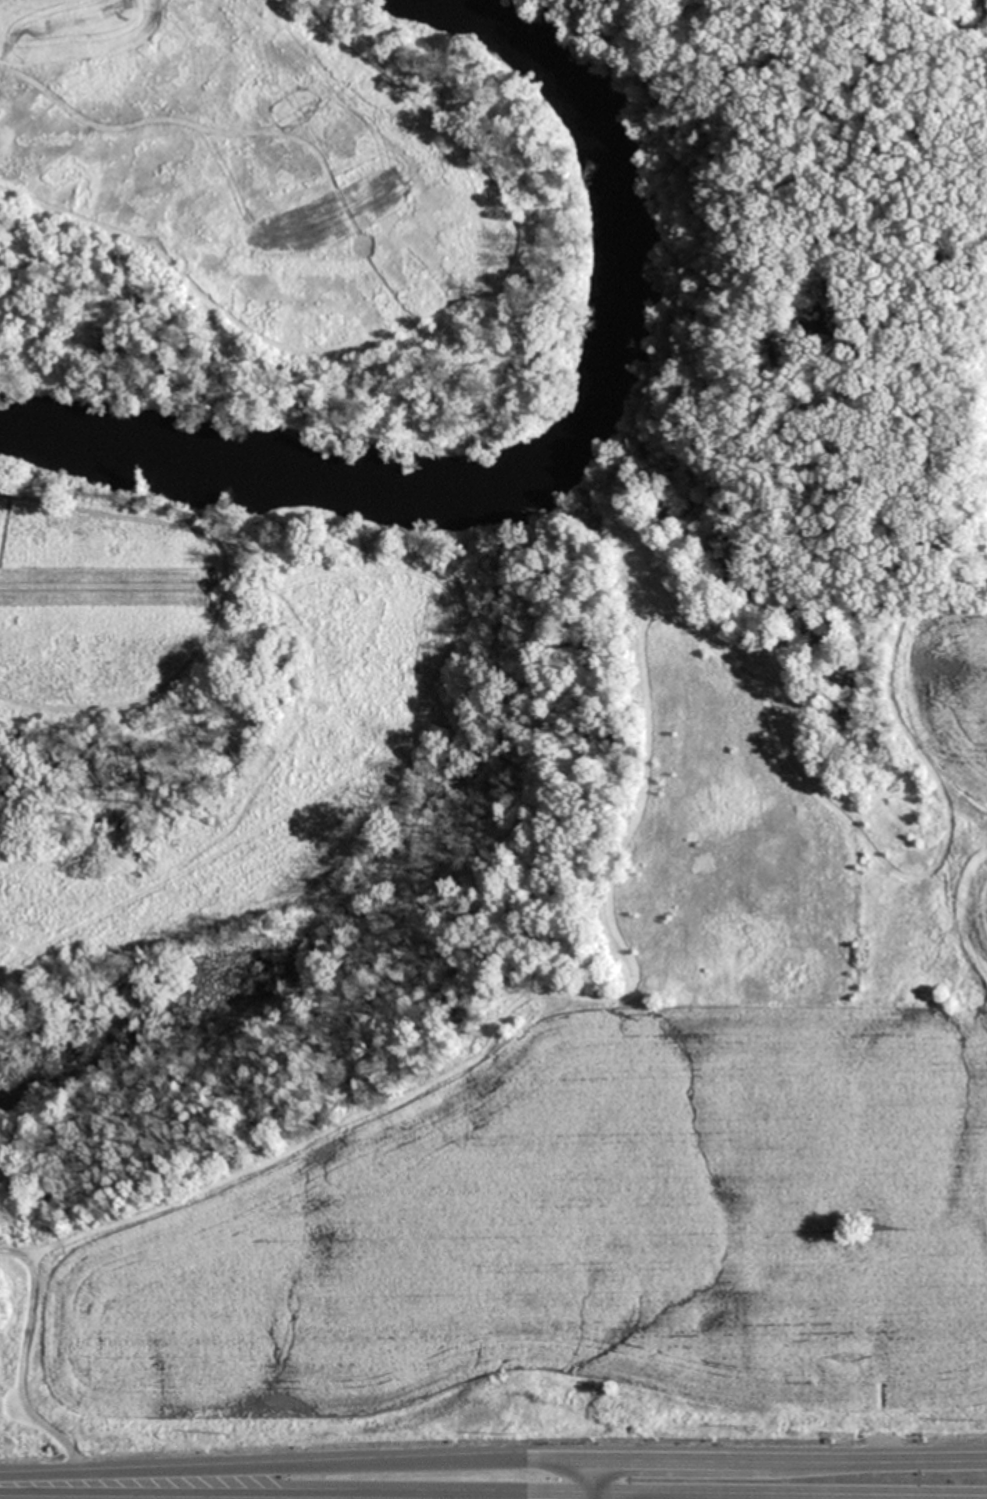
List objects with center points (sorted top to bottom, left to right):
river: (554, 467)
park: (230, 473)
crop: (626, 1155)
road: (493, 1462)
road: (600, 1476)
road: (300, 1492)
road: (793, 1493)
road: (600, 1496)
crop: (30, 1498)
crop: (227, 1498)

